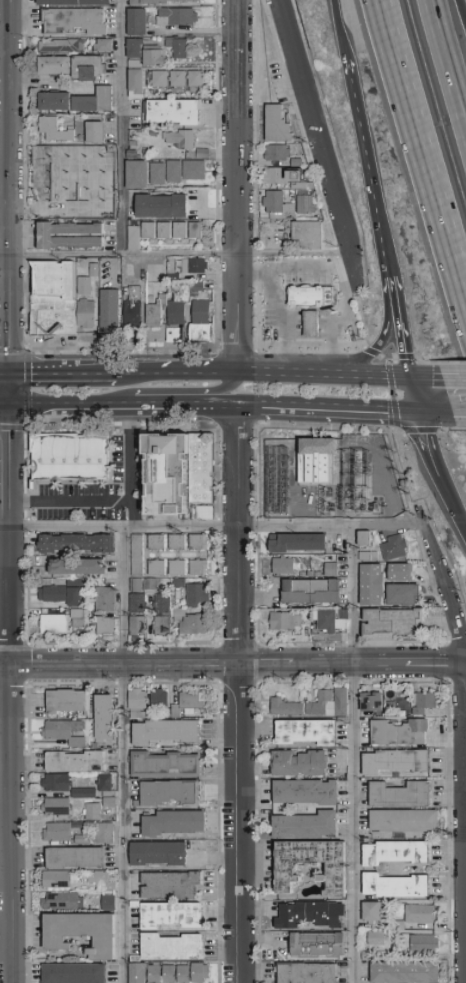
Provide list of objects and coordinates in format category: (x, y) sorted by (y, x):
building: (164, 0)
building: (74, 2)
road: (460, 13)
building: (175, 15)
building: (73, 20)
building: (136, 21)
road: (340, 30)
building: (103, 44)
building: (60, 45)
building: (176, 46)
building: (133, 47)
road: (449, 53)
building: (151, 54)
building: (52, 64)
building: (86, 66)
building: (158, 77)
building: (176, 77)
building: (194, 78)
building: (134, 82)
building: (110, 101)
building: (58, 103)
building: (89, 106)
building: (171, 111)
building: (276, 124)
road: (125, 129)
road: (236, 129)
building: (93, 131)
building: (57, 133)
building: (179, 138)
road: (363, 139)
road: (323, 144)
building: (276, 151)
building: (51, 153)
building: (80, 153)
road: (421, 153)
building: (106, 166)
building: (193, 169)
building: (173, 170)
building: (156, 172)
building: (135, 173)
building: (273, 175)
building: (51, 179)
building: (74, 179)
building: (77, 200)
building: (47, 201)
building: (104, 204)
building: (304, 204)
building: (160, 205)
building: (277, 205)
building: (147, 229)
building: (162, 229)
building: (178, 229)
building: (194, 229)
building: (307, 233)
building: (69, 235)
building: (133, 237)
road: (385, 248)
road: (295, 257)
road: (118, 258)
building: (193, 265)
road: (238, 265)
road: (321, 272)
building: (83, 285)
building: (196, 286)
building: (310, 298)
road: (287, 299)
building: (55, 301)
building: (183, 307)
road: (387, 309)
building: (136, 310)
building: (160, 312)
building: (85, 313)
building: (109, 313)
building: (205, 313)
road: (353, 319)
road: (239, 323)
building: (311, 325)
road: (335, 326)
road: (401, 328)
building: (174, 334)
road: (5, 373)
road: (63, 373)
road: (178, 373)
road: (325, 375)
road: (426, 377)
road: (453, 378)
road: (178, 393)
road: (415, 396)
road: (5, 407)
road: (22, 407)
road: (137, 408)
road: (251, 410)
road: (339, 412)
road: (436, 415)
road: (459, 416)
road: (425, 438)
road: (131, 453)
building: (71, 458)
building: (315, 459)
road: (398, 469)
building: (182, 473)
power substation: (333, 481)
road: (11, 491)
road: (86, 498)
road: (448, 498)
building: (205, 514)
road: (213, 525)
building: (296, 542)
building: (158, 543)
building: (179, 543)
building: (200, 543)
building: (79, 545)
building: (393, 547)
building: (139, 556)
building: (281, 566)
building: (81, 568)
building: (200, 568)
building: (158, 569)
building: (179, 569)
building: (330, 569)
building: (399, 571)
building: (77, 584)
building: (181, 584)
building: (371, 584)
building: (138, 586)
building: (153, 587)
road: (446, 589)
building: (310, 591)
building: (402, 594)
building: (55, 595)
building: (199, 596)
building: (77, 598)
building: (106, 600)
building: (164, 604)
building: (139, 605)
building: (180, 616)
building: (80, 619)
building: (285, 620)
building: (329, 622)
building: (391, 622)
building: (56, 625)
building: (197, 626)
building: (108, 627)
building: (139, 627)
building: (164, 627)
road: (232, 669)
road: (242, 696)
building: (68, 701)
building: (370, 701)
building: (194, 702)
building: (423, 702)
building: (139, 704)
building: (162, 704)
building: (312, 704)
building: (177, 711)
building: (105, 717)
building: (168, 731)
building: (66, 732)
building: (305, 732)
building: (398, 732)
road: (356, 754)
road: (121, 755)
building: (393, 761)
building: (77, 762)
building: (298, 763)
building: (166, 765)
building: (58, 783)
building: (107, 785)
building: (304, 791)
building: (85, 793)
building: (171, 793)
building: (399, 794)
building: (111, 803)
building: (58, 807)
building: (94, 812)
building: (403, 820)
building: (175, 822)
building: (304, 825)
building: (61, 832)
building: (104, 834)
power tower: (453, 836)
building: (85, 840)
building: (393, 852)
building: (160, 853)
building: (75, 858)
building: (334, 869)
building: (58, 880)
building: (103, 881)
building: (172, 886)
building: (393, 886)
building: (64, 902)
building: (110, 902)
building: (371, 911)
building: (419, 913)
building: (308, 914)
building: (173, 915)
building: (84, 933)
building: (375, 938)
building: (423, 943)
building: (316, 944)
building: (173, 947)
building: (136, 960)
building: (404, 972)
building: (139, 973)
building: (200, 973)
building: (306, 973)
building: (76, 974)
building: (155, 974)
building: (169, 974)
building: (184, 974)

